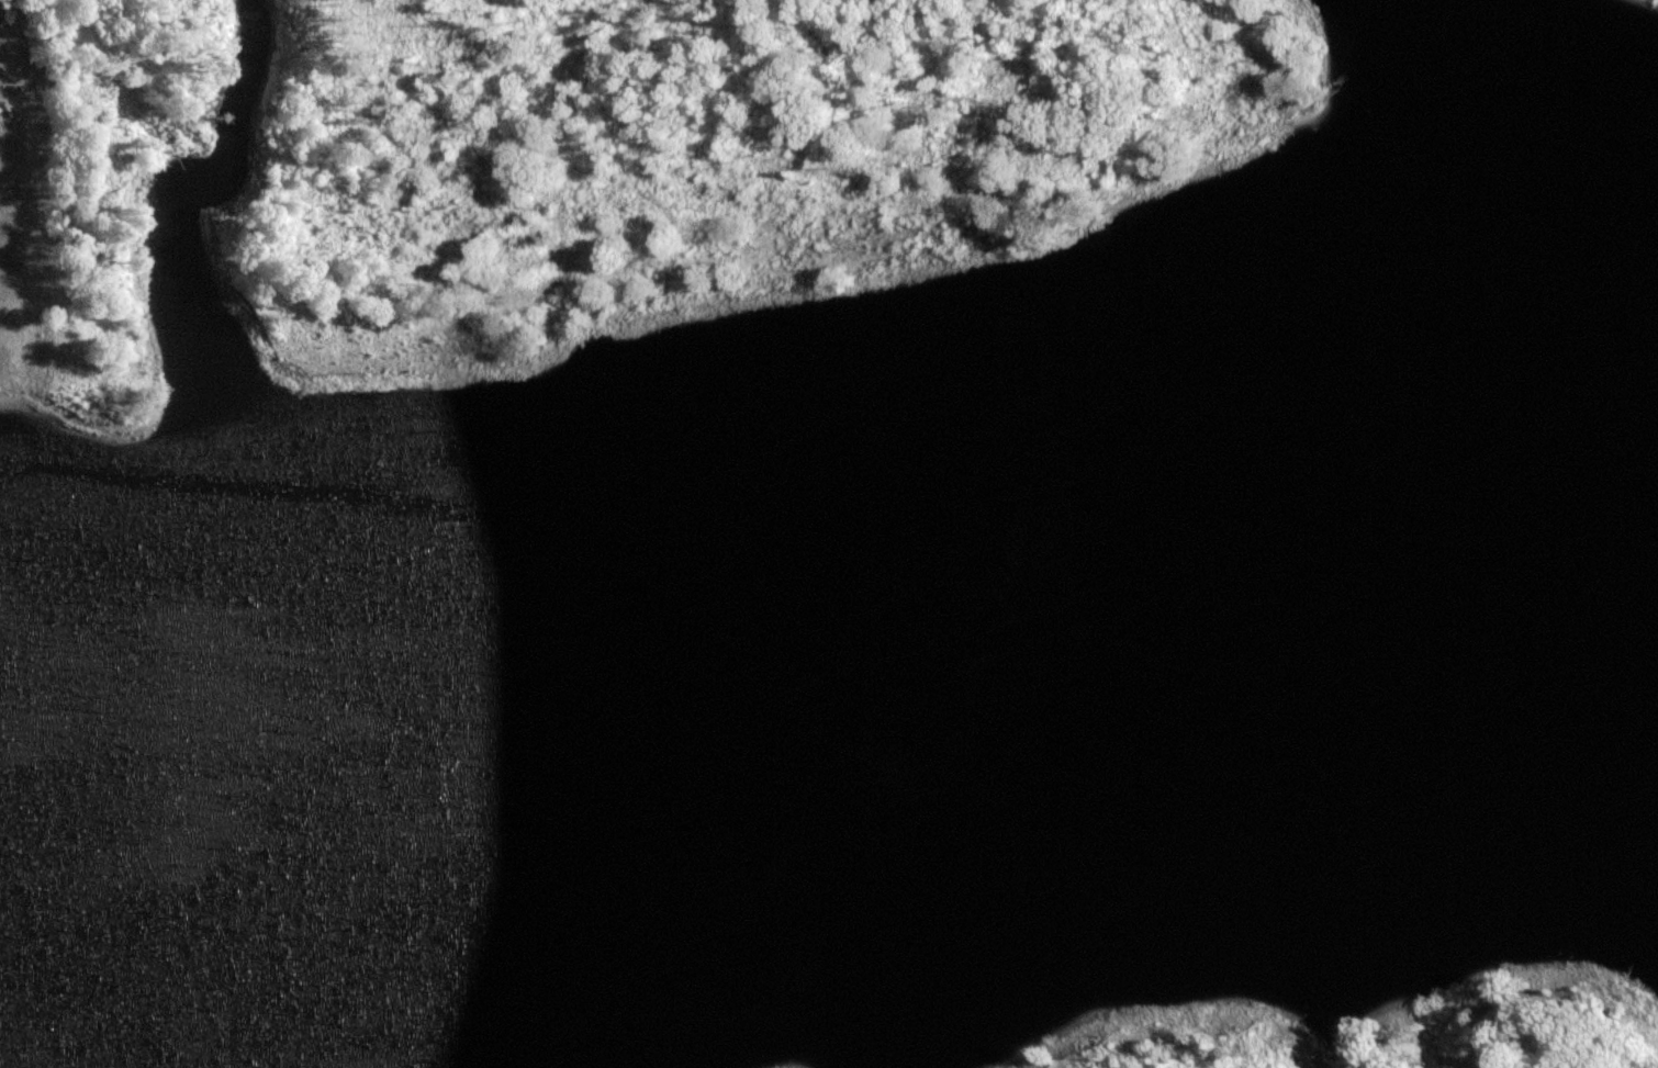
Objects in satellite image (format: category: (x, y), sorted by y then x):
river: (822, 803)

